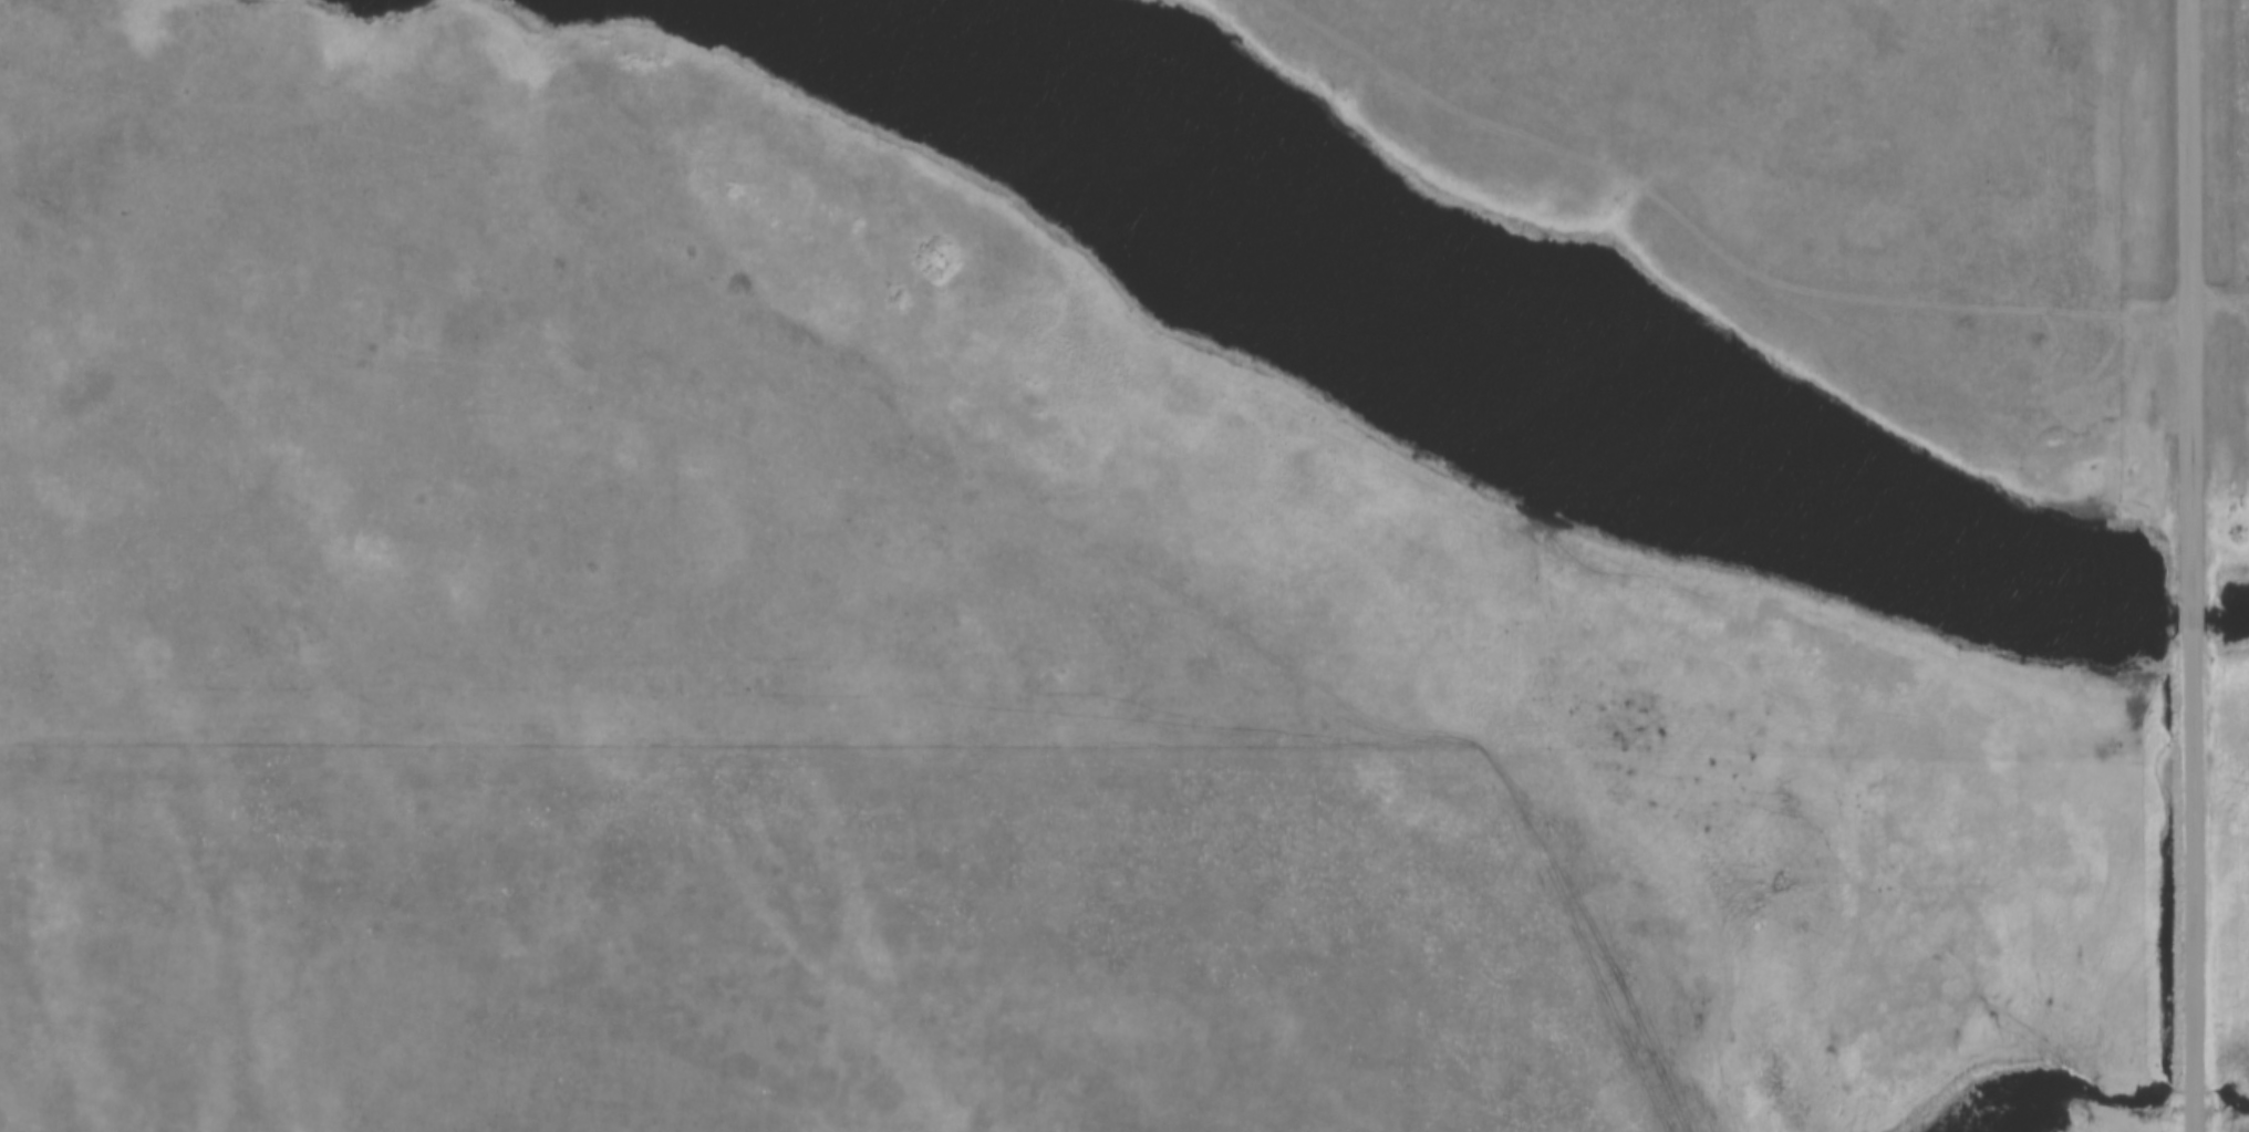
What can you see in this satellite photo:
road: (24, 3)
road: (2190, 302)
road: (957, 445)
road: (2193, 617)
road: (2195, 881)

